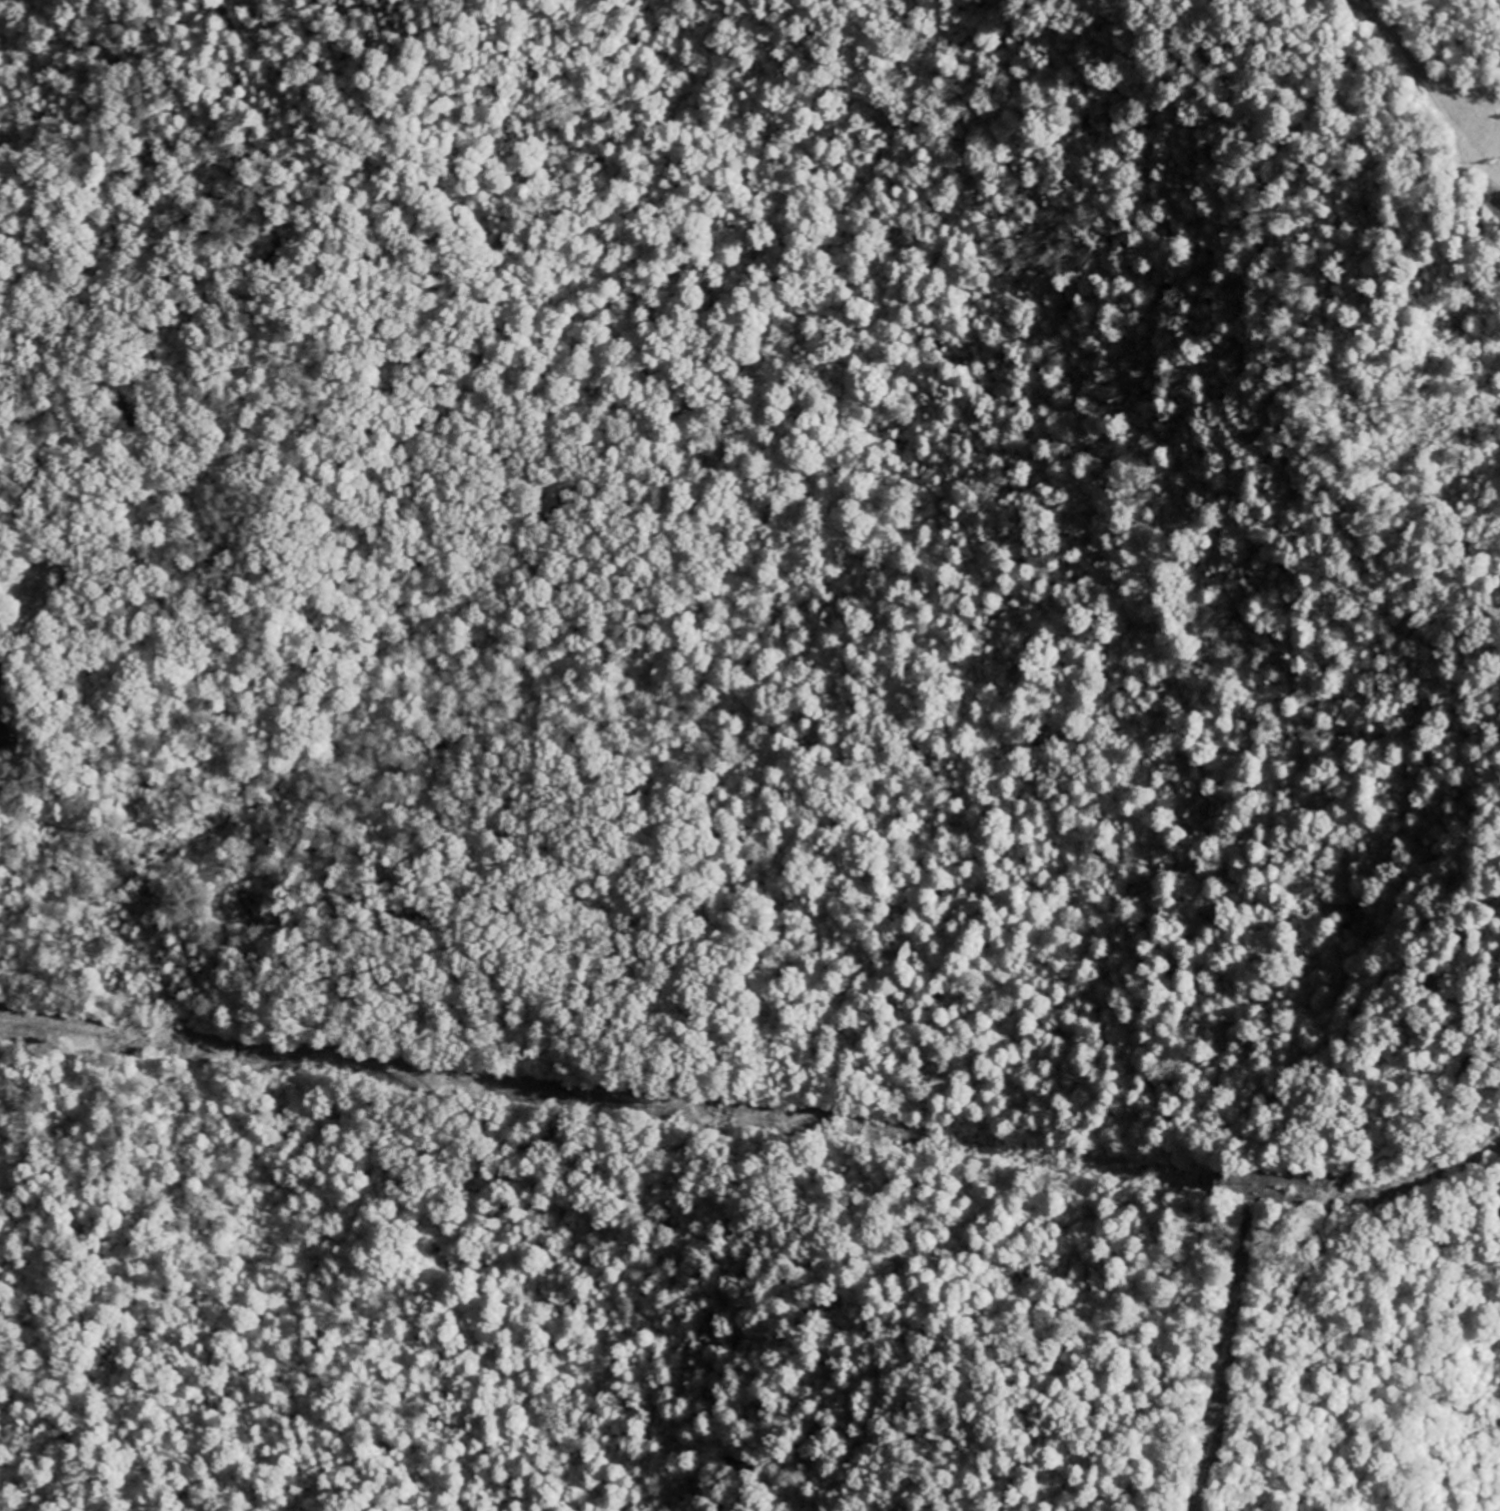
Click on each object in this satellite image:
park: (41, 616)
road: (1316, 1290)

